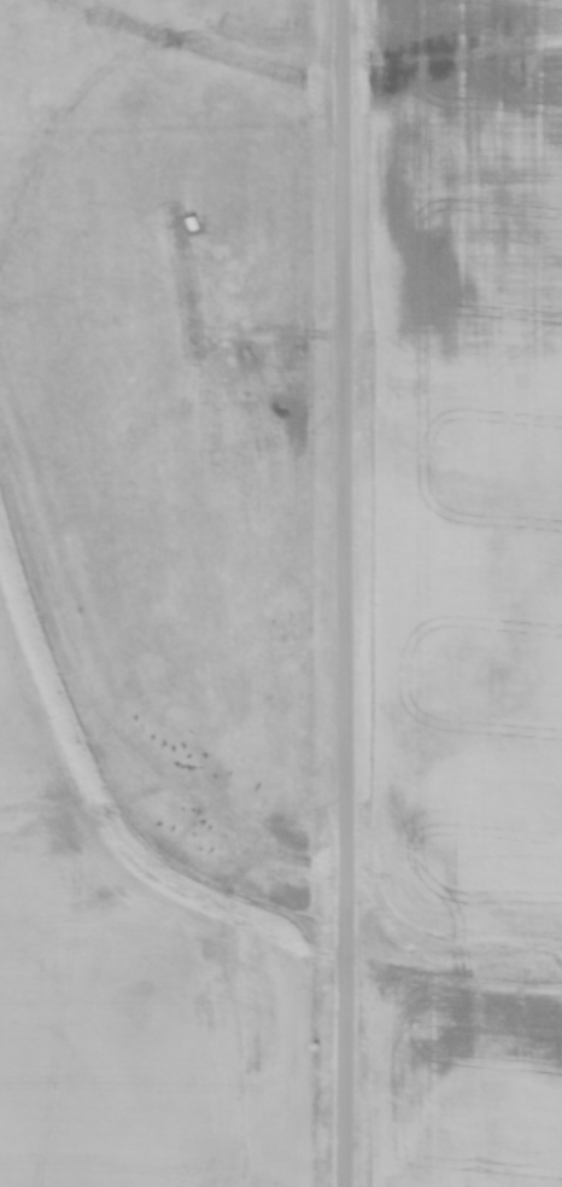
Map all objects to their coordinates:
road: (352, 593)

